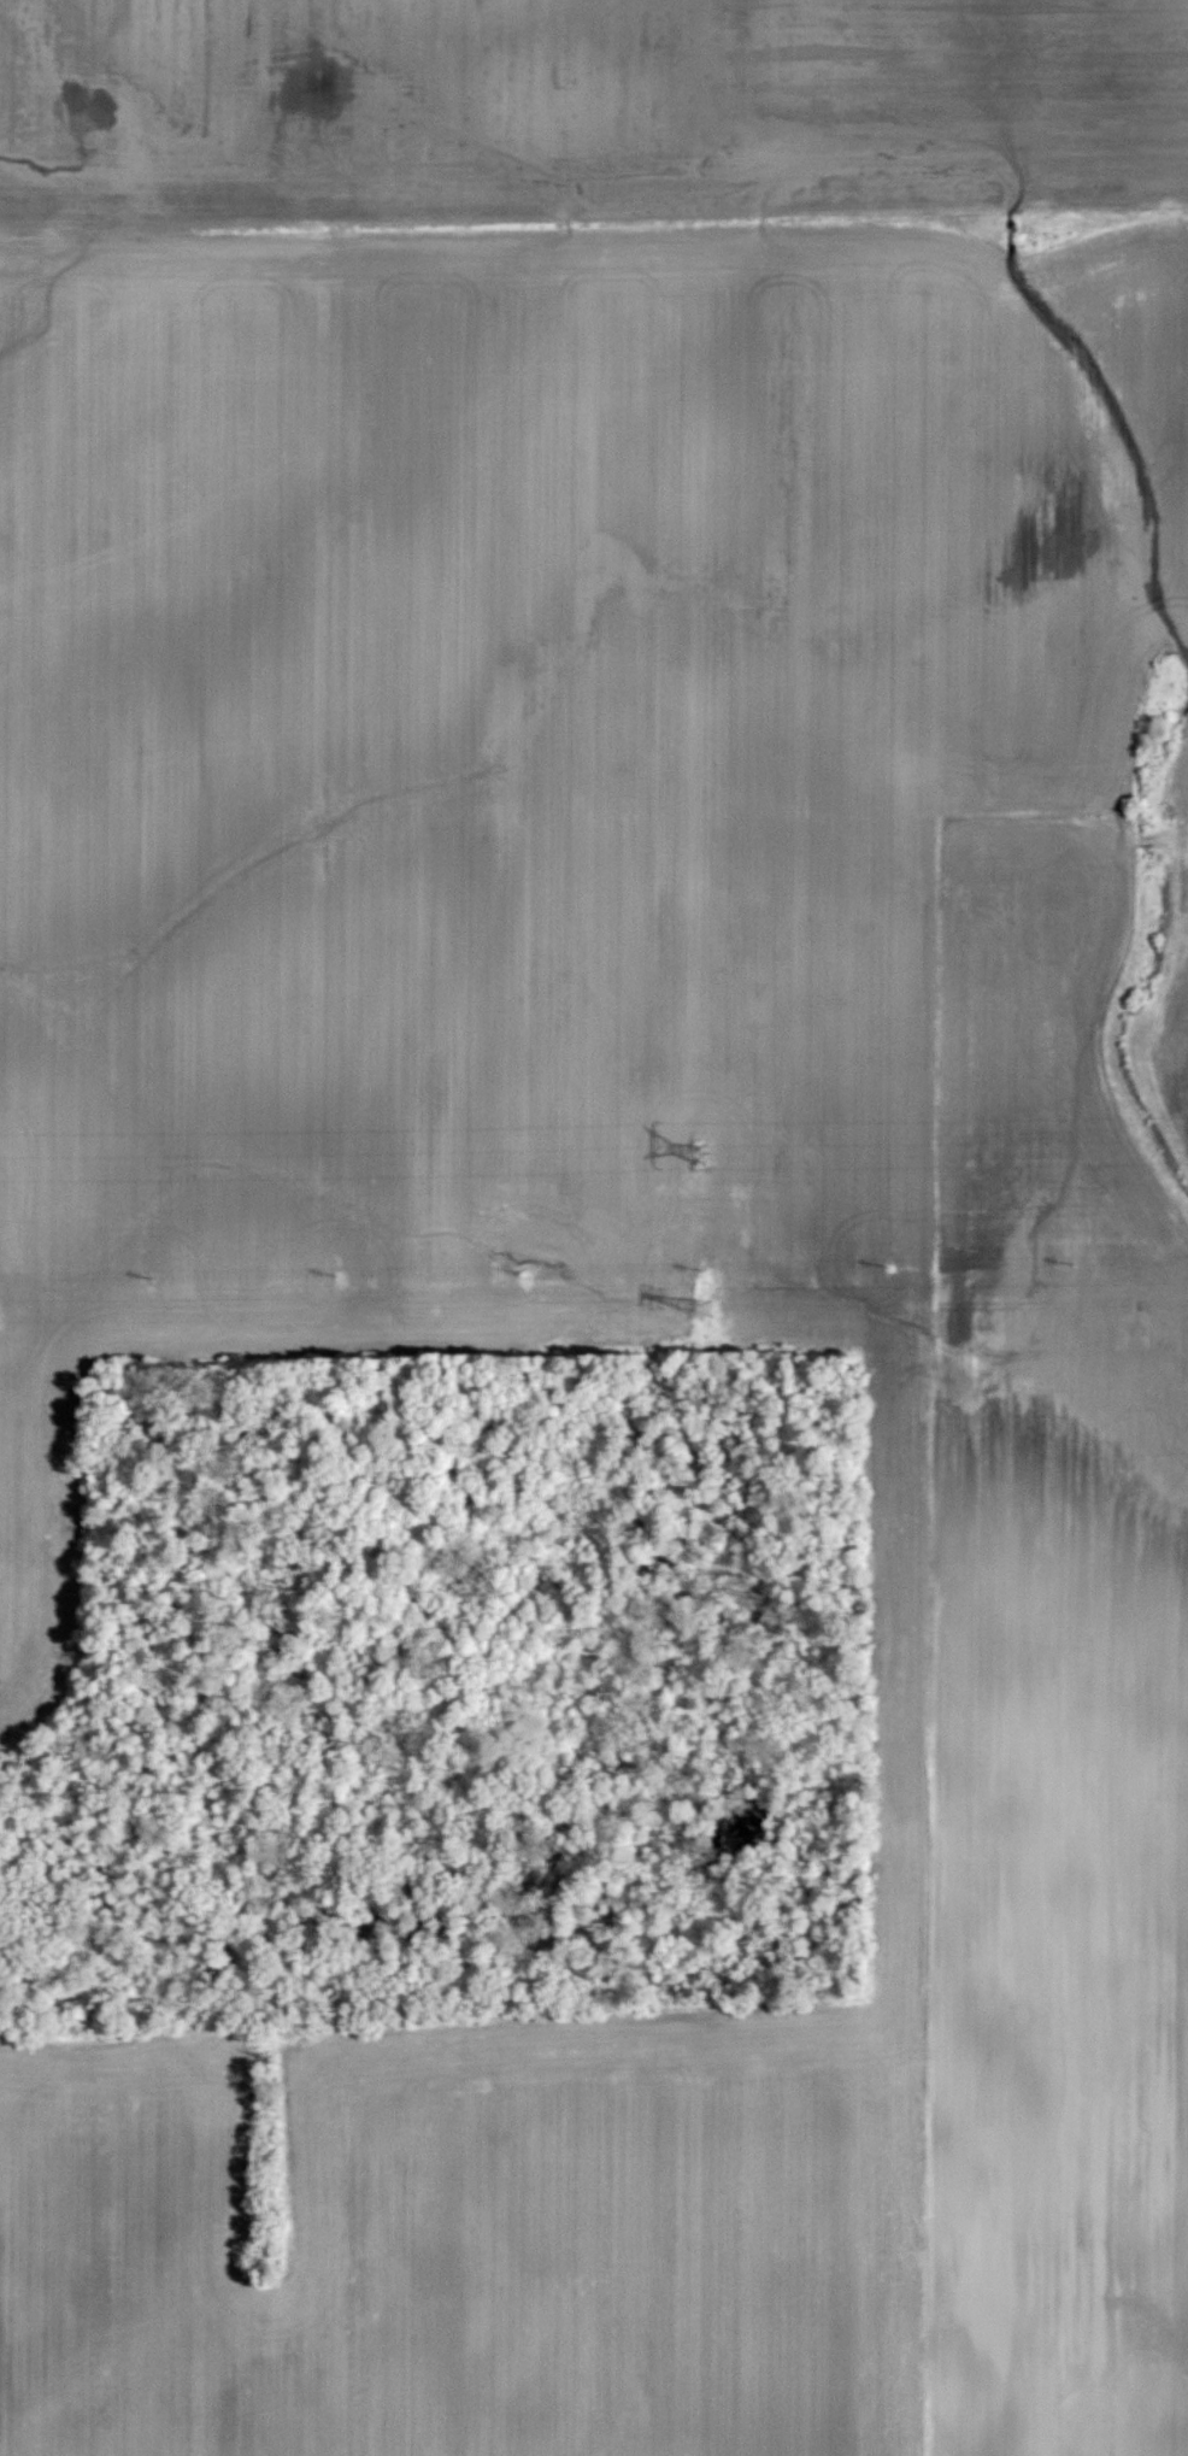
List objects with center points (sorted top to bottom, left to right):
power tower: (696, 1157)
power tower: (704, 1311)

